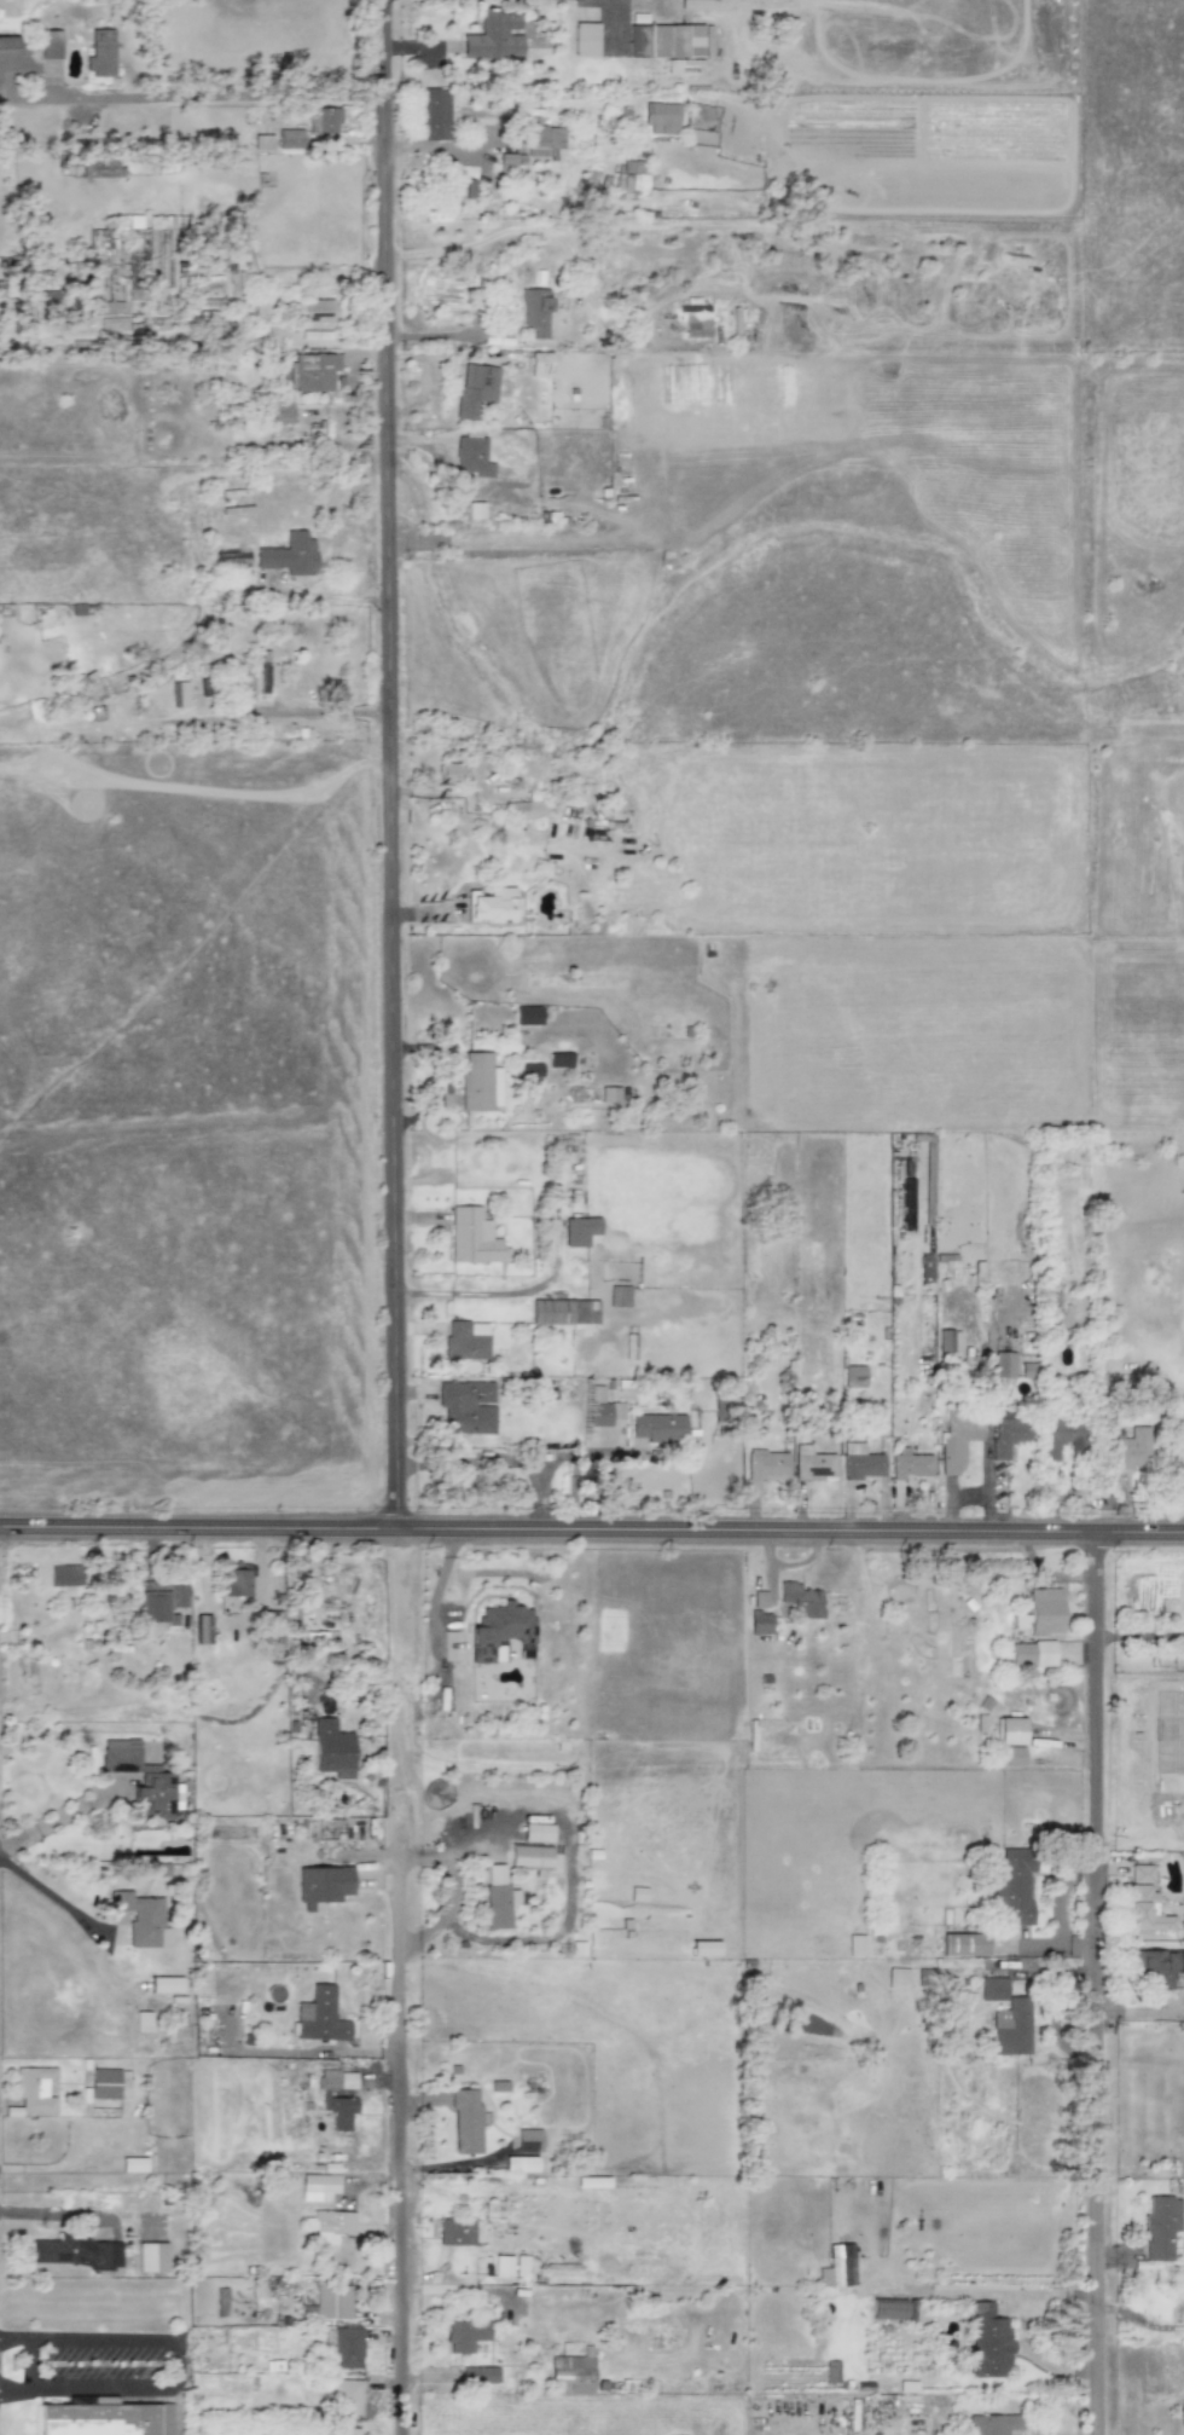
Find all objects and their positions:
building: (697, 4)
road: (610, 19)
building: (493, 37)
building: (585, 39)
building: (664, 41)
building: (50, 44)
building: (7, 48)
building: (100, 53)
building: (680, 64)
road: (202, 98)
building: (433, 114)
building: (661, 118)
building: (323, 120)
building: (289, 138)
building: (544, 139)
building: (261, 141)
building: (506, 161)
building: (465, 187)
building: (98, 244)
building: (151, 260)
building: (43, 303)
building: (318, 310)
building: (534, 311)
building: (217, 320)
building: (696, 322)
road: (449, 335)
building: (540, 364)
building: (312, 371)
building: (475, 388)
building: (278, 412)
building: (471, 455)
building: (475, 510)
building: (289, 554)
building: (232, 557)
building: (5, 609)
building: (179, 694)
road: (393, 767)
building: (449, 773)
road: (196, 774)
building: (524, 809)
building: (493, 906)
building: (527, 1014)
building: (558, 1059)
building: (530, 1070)
road: (447, 1075)
building: (480, 1081)
building: (579, 1231)
building: (471, 1236)
building: (925, 1268)
road: (486, 1292)
building: (619, 1295)
building: (563, 1312)
building: (465, 1340)
building: (947, 1341)
building: (1003, 1364)
building: (854, 1376)
building: (466, 1406)
building: (602, 1407)
building: (657, 1427)
building: (1008, 1431)
building: (1057, 1435)
building: (957, 1440)
building: (1131, 1450)
building: (859, 1462)
building: (813, 1463)
building: (767, 1465)
building: (910, 1465)
road: (198, 1533)
road: (790, 1535)
building: (63, 1575)
building: (237, 1580)
building: (801, 1600)
building: (151, 1607)
building: (1045, 1612)
road: (298, 1615)
building: (1021, 1621)
building: (760, 1624)
building: (501, 1632)
road: (1138, 1636)
building: (1033, 1654)
building: (1010, 1731)
building: (332, 1749)
building: (1012, 1757)
building: (157, 1780)
road: (66, 1812)
building: (536, 1832)
building: (529, 1856)
building: (1141, 1874)
building: (321, 1885)
building: (1012, 1887)
building: (637, 1893)
road: (451, 1895)
building: (497, 1897)
road: (56, 1899)
building: (1144, 1910)
building: (140, 1918)
building: (855, 1944)
building: (963, 1944)
building: (703, 1948)
building: (1157, 1966)
building: (898, 1978)
building: (164, 1984)
road: (1095, 1986)
road: (1139, 2012)
building: (319, 2015)
building: (1006, 2018)
building: (143, 2022)
building: (336, 2080)
building: (105, 2083)
building: (34, 2089)
building: (338, 2106)
building: (465, 2121)
road: (400, 2130)
building: (527, 2140)
building: (133, 2164)
building: (520, 2164)
building: (320, 2184)
building: (492, 2210)
road: (27, 2211)
road: (80, 2214)
building: (331, 2226)
building: (1160, 2226)
building: (455, 2232)
building: (76, 2251)
building: (151, 2256)
building: (521, 2265)
building: (503, 2266)
building: (840, 2266)
building: (221, 2301)
building: (329, 2302)
building: (886, 2308)
building: (464, 2335)
road: (13, 2336)
road: (100, 2336)
building: (986, 2342)
building: (343, 2348)
road: (28, 2361)
road: (174, 2361)
building: (571, 2372)
building: (480, 2375)
road: (13, 2387)
road: (101, 2387)
building: (342, 2395)
building: (104, 2417)
building: (992, 2424)
building: (344, 2430)

